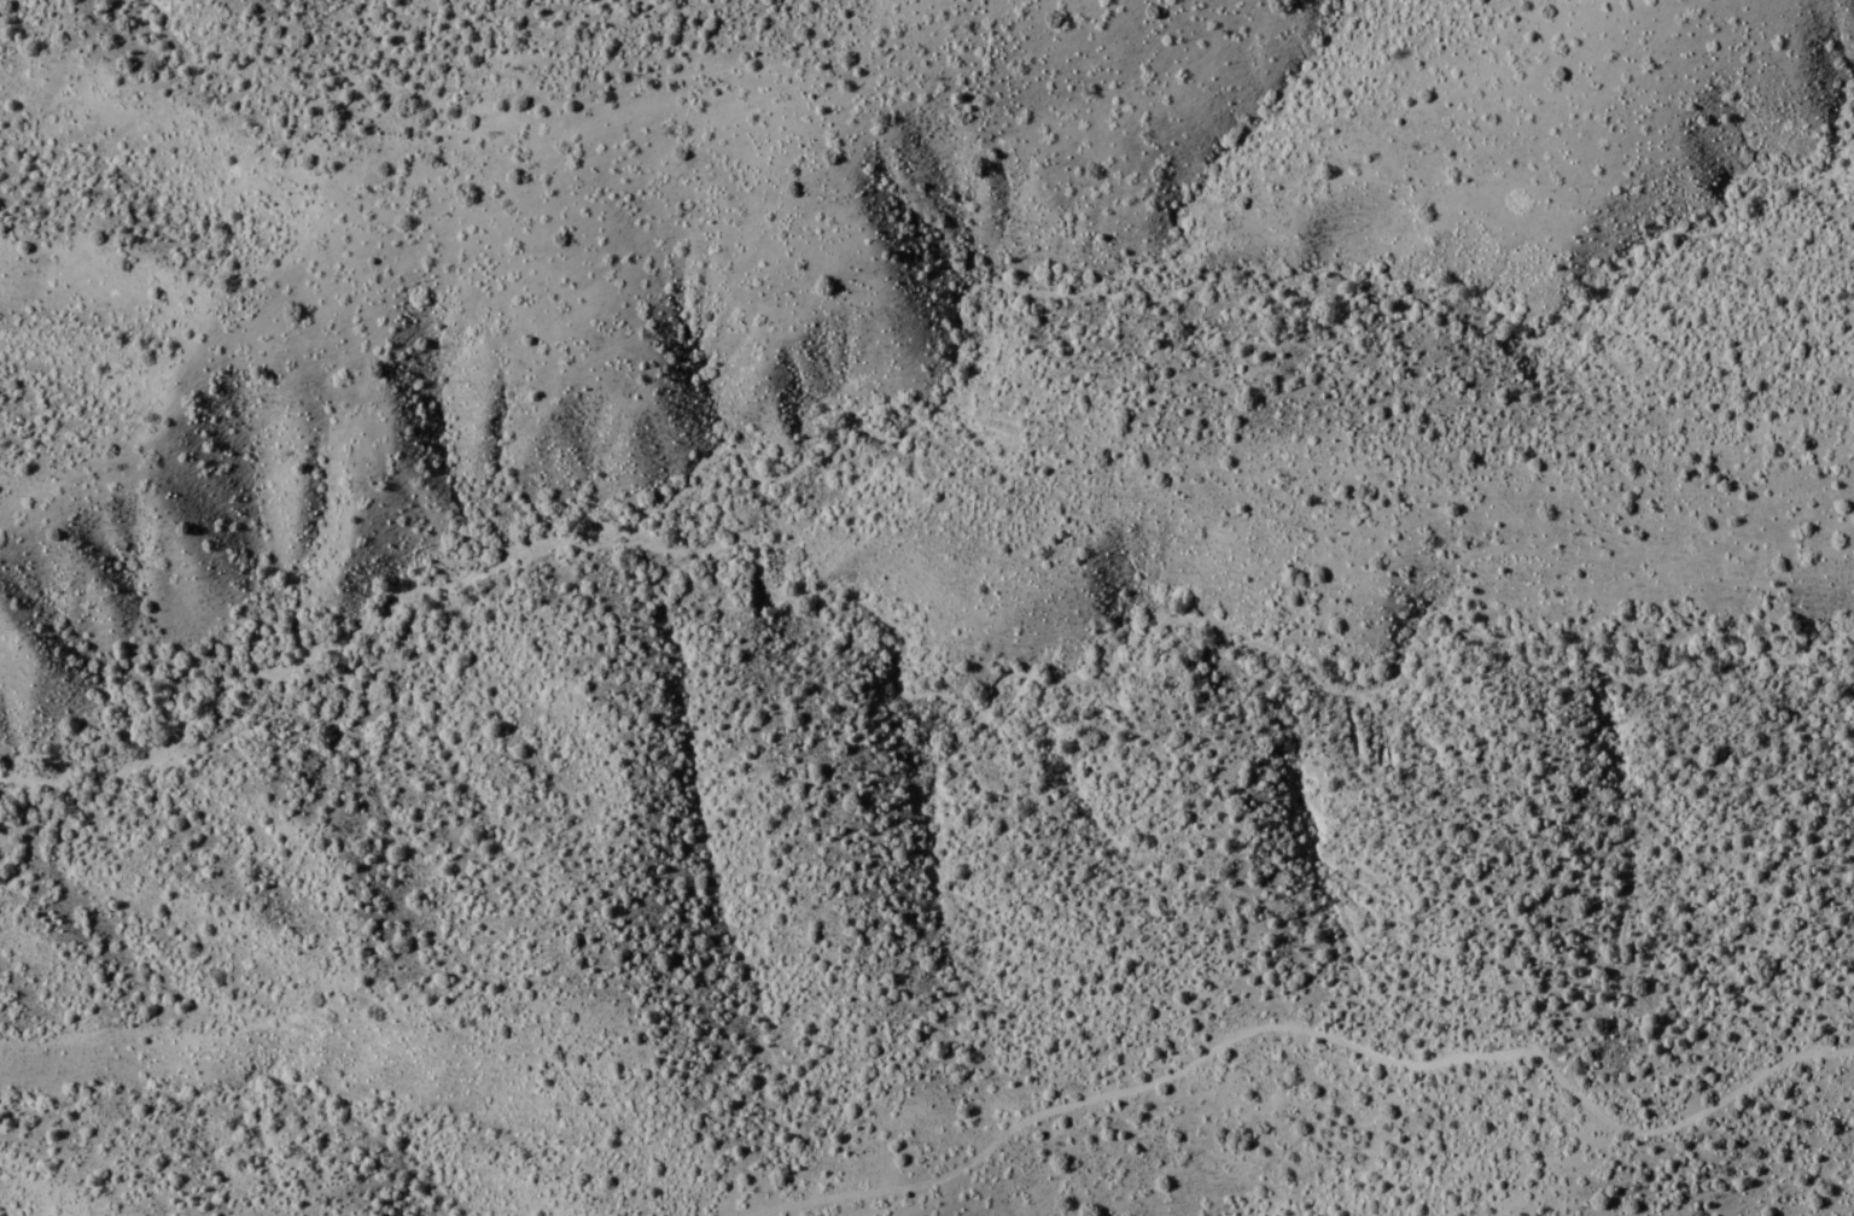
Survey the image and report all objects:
road: (1281, 1031)
road: (23, 1208)

